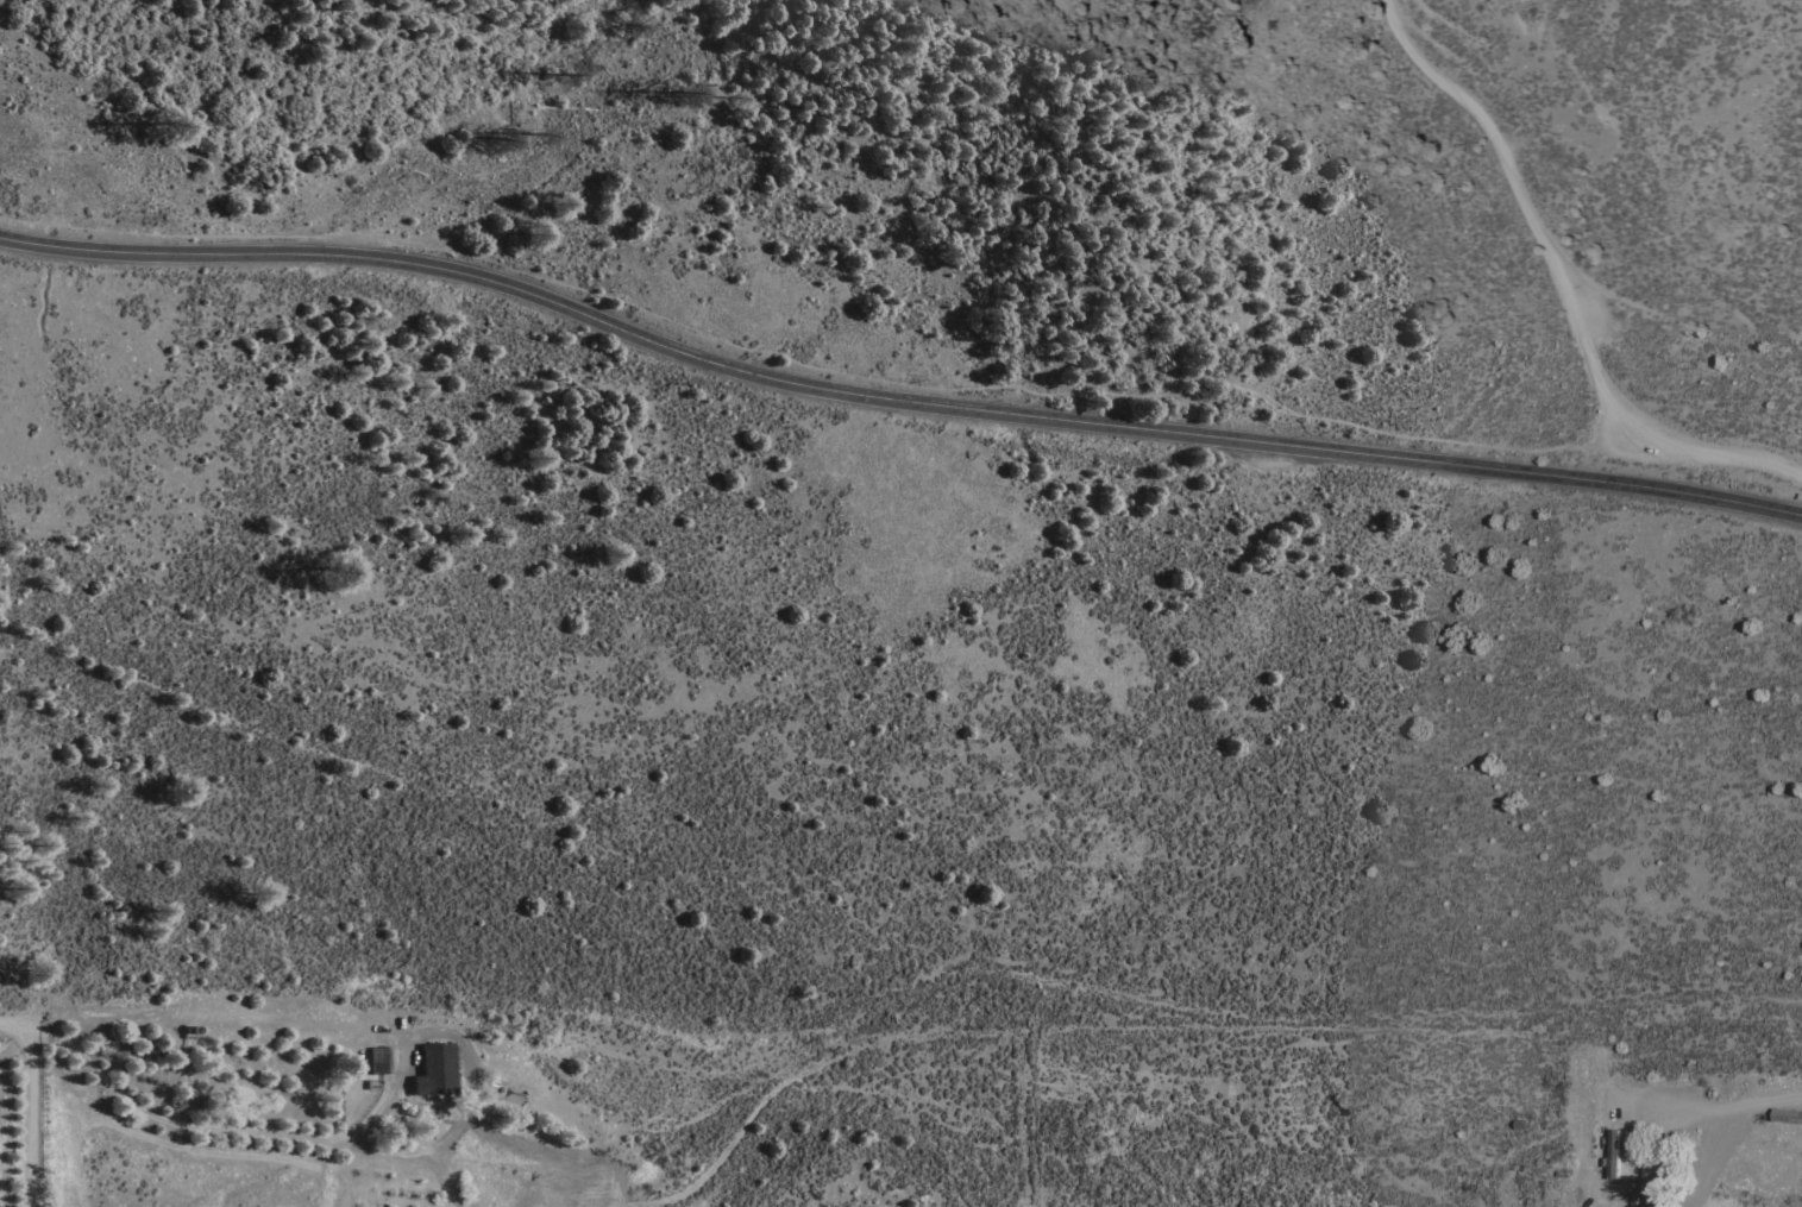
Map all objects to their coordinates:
road: (1566, 283)
road: (893, 397)
road: (18, 1025)
road: (18, 1044)
building: (435, 1068)
road: (1728, 1106)
building: (1784, 1117)
road: (34, 1118)
road: (216, 1130)
building: (1611, 1155)
building: (1653, 1176)

